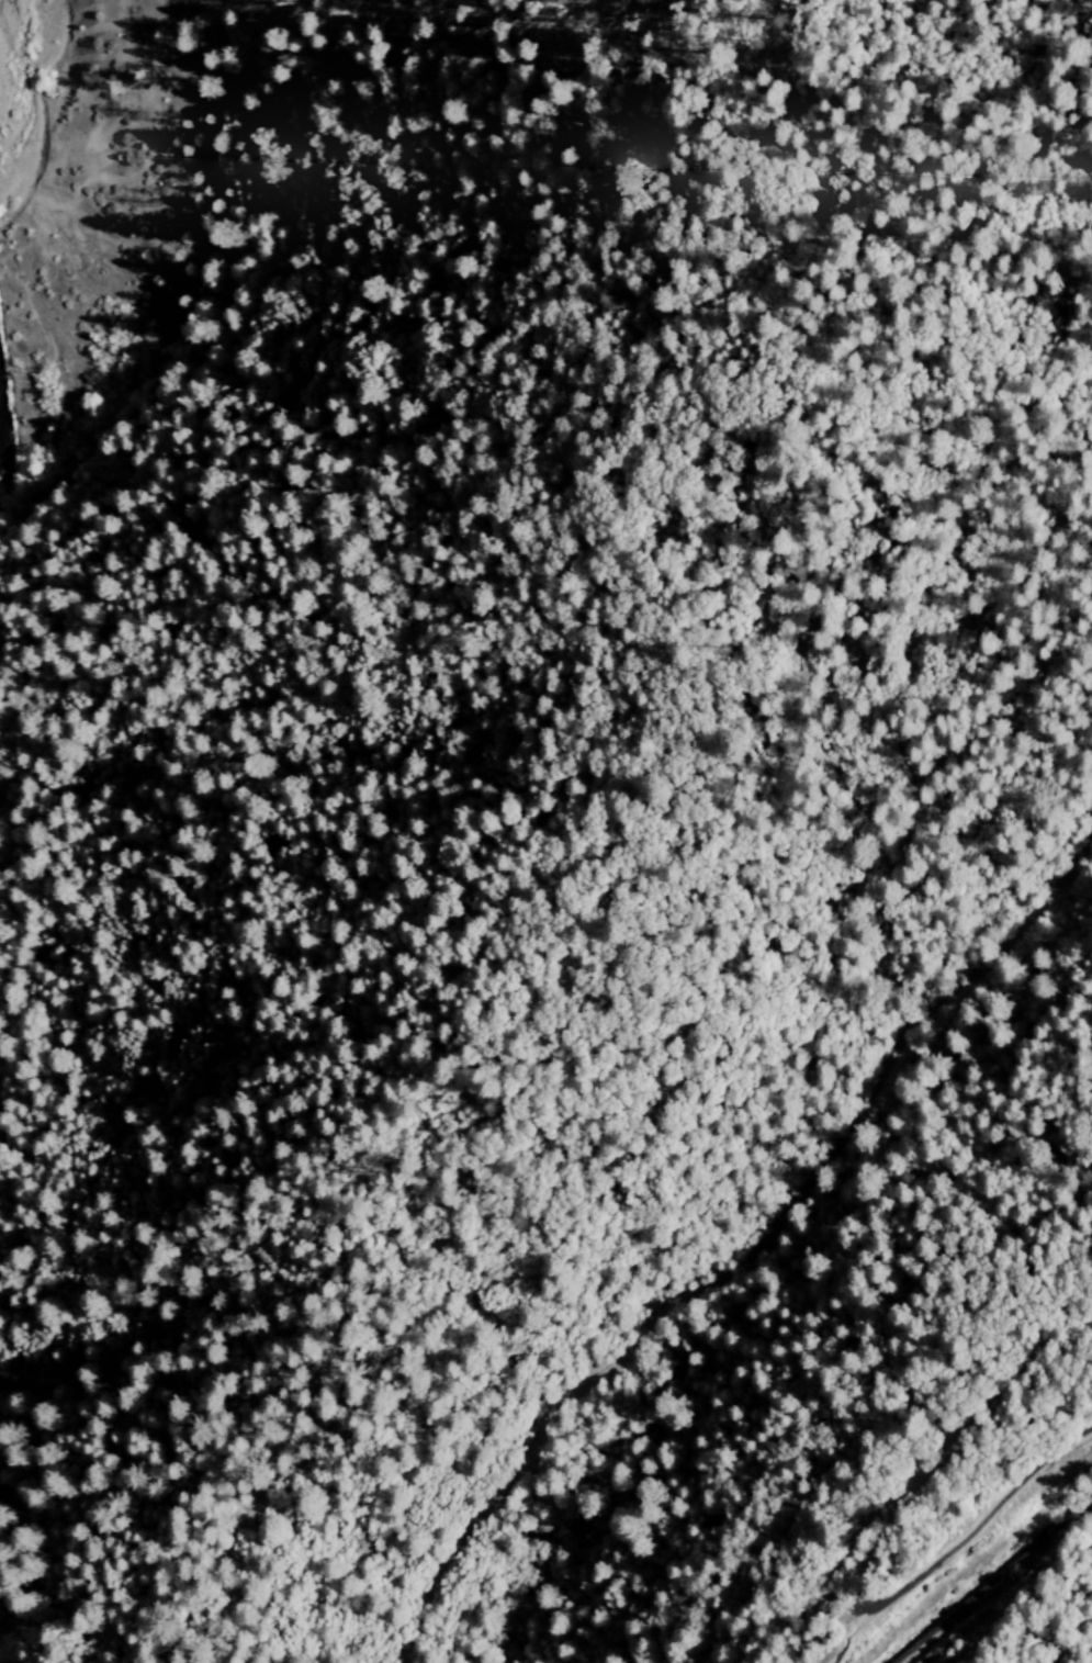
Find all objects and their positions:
road: (747, 1247)

